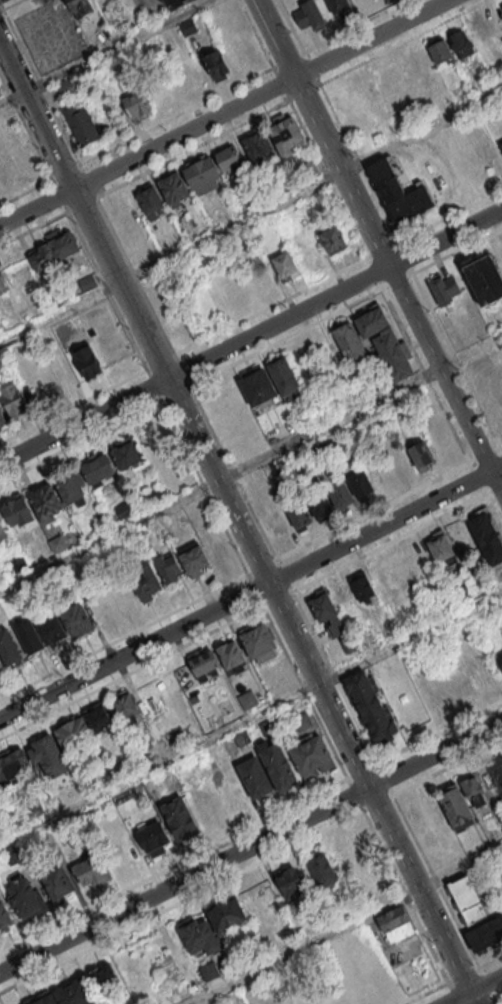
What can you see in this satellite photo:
building: (175, 2)
road: (12, 5)
building: (339, 6)
building: (81, 7)
road: (1, 11)
building: (310, 15)
building: (187, 25)
building: (479, 35)
road: (369, 39)
building: (461, 43)
road: (105, 50)
building: (439, 51)
building: (421, 60)
building: (214, 64)
building: (404, 69)
building: (385, 78)
building: (67, 86)
building: (366, 87)
building: (0, 93)
building: (137, 104)
building: (6, 117)
building: (80, 124)
road: (183, 131)
road: (320, 133)
building: (287, 135)
building: (501, 143)
building: (257, 144)
building: (20, 155)
building: (228, 157)
building: (201, 172)
building: (174, 189)
building: (398, 191)
building: (150, 201)
road: (37, 202)
road: (250, 215)
building: (187, 225)
building: (333, 239)
building: (62, 241)
building: (499, 253)
building: (40, 256)
building: (284, 264)
building: (484, 278)
building: (87, 282)
building: (1, 284)
building: (445, 289)
road: (336, 292)
building: (349, 341)
building: (384, 342)
building: (88, 362)
road: (438, 369)
building: (284, 376)
building: (488, 385)
building: (257, 387)
building: (14, 401)
building: (2, 419)
road: (85, 419)
building: (334, 446)
building: (321, 450)
building: (126, 453)
building: (421, 454)
building: (400, 463)
road: (250, 465)
building: (277, 466)
road: (495, 467)
building: (97, 469)
building: (380, 474)
building: (251, 478)
building: (360, 483)
road: (495, 484)
building: (71, 489)
building: (339, 494)
building: (156, 496)
building: (45, 502)
building: (319, 504)
building: (123, 510)
road: (236, 511)
building: (19, 514)
building: (299, 514)
building: (103, 522)
building: (277, 525)
building: (3, 530)
building: (487, 538)
building: (56, 543)
building: (440, 547)
building: (216, 548)
building: (125, 549)
building: (193, 558)
building: (17, 563)
building: (167, 567)
building: (144, 580)
building: (362, 588)
road: (244, 594)
building: (342, 594)
building: (123, 597)
building: (100, 608)
building: (326, 613)
building: (75, 619)
building: (53, 635)
building: (30, 639)
building: (259, 642)
building: (10, 651)
building: (232, 655)
building: (499, 660)
building: (205, 664)
building: (1, 665)
building: (278, 671)
building: (247, 699)
building: (371, 705)
building: (124, 706)
road: (250, 716)
building: (98, 717)
building: (301, 720)
building: (268, 725)
building: (73, 734)
building: (311, 753)
building: (48, 755)
building: (277, 765)
building: (14, 767)
building: (497, 772)
building: (254, 777)
building: (473, 786)
building: (456, 807)
building: (179, 815)
building: (153, 836)
road: (250, 847)
building: (354, 856)
building: (92, 867)
building: (322, 869)
building: (57, 882)
building: (290, 884)
building: (25, 897)
building: (467, 898)
road: (181, 901)
building: (258, 903)
building: (226, 914)
building: (4, 917)
road: (414, 918)
road: (345, 924)
building: (395, 924)
building: (485, 933)
building: (198, 936)
building: (209, 971)
building: (103, 978)
road: (468, 987)
building: (75, 992)
road: (475, 995)
building: (44, 999)

